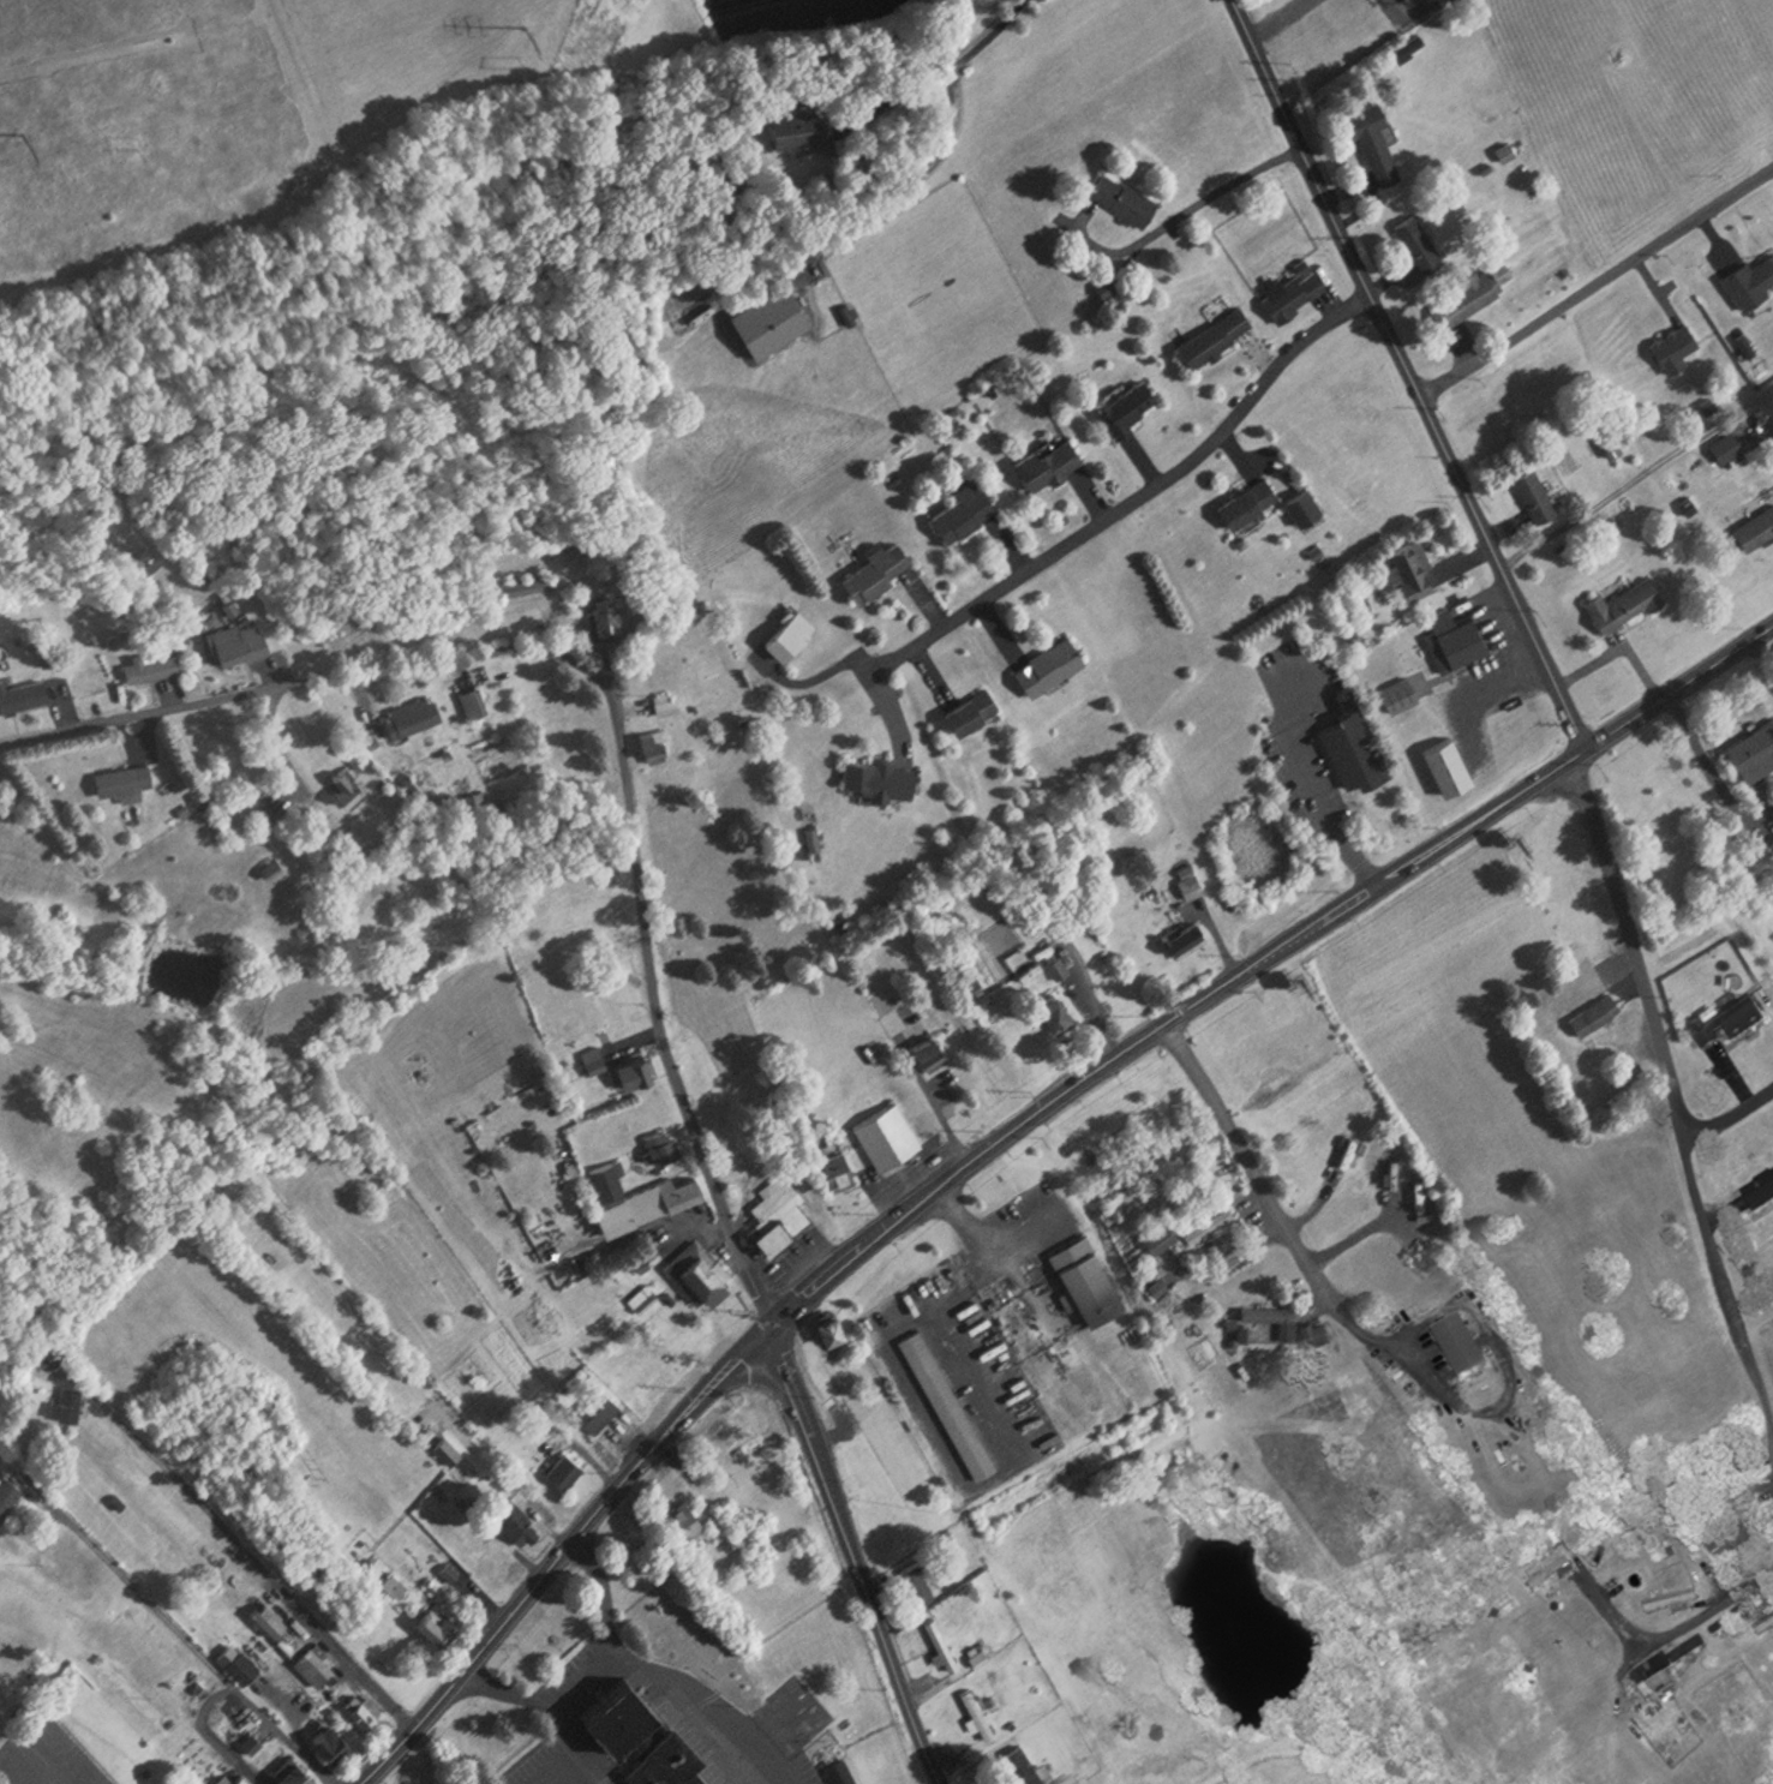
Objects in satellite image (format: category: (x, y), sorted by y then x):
power substation: (1419, 10)
road: (1281, 19)
power tower: (540, 29)
power tower: (35, 140)
road: (942, 144)
road: (1184, 210)
road: (1598, 281)
road: (1413, 375)
road: (1134, 503)
road: (612, 704)
road: (1310, 788)
road: (1636, 941)
road: (1732, 1101)
road: (1011, 1136)
road: (1282, 1222)
road: (1732, 1283)
road: (244, 1547)
road: (853, 1557)
road: (138, 1587)
road: (1681, 1629)
road: (597, 1671)
road: (233, 1689)
road: (711, 1702)
road: (568, 1740)

